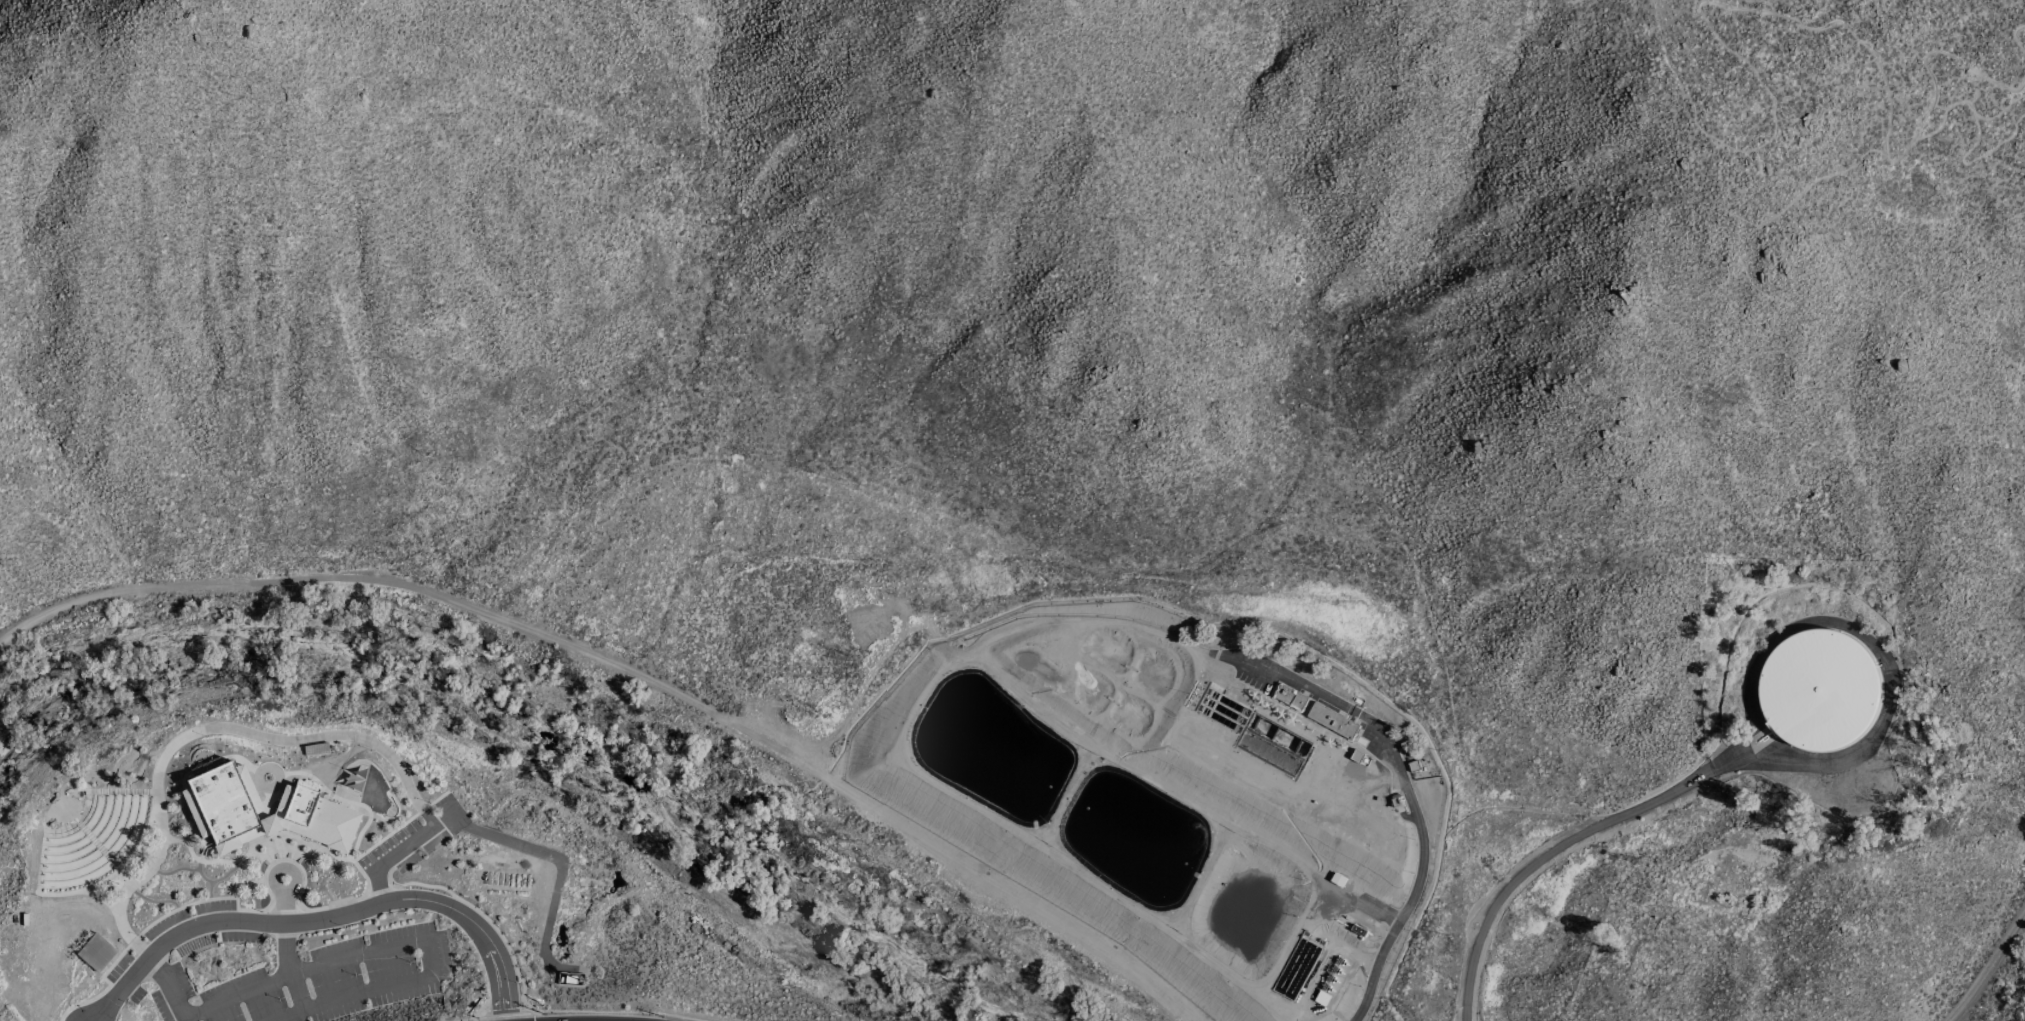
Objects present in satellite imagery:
road: (1742, 11)
road: (423, 591)
building: (1818, 691)
storage tank: (1818, 691)
building: (1290, 697)
building: (1332, 721)
river: (527, 726)
building: (223, 803)
road: (1411, 804)
building: (315, 820)
building: (199, 824)
building: (267, 825)
road: (397, 852)
road: (1545, 857)
road: (1010, 896)
road: (323, 921)
road: (429, 942)
building: (96, 952)
road: (1989, 969)
road: (171, 986)
road: (236, 997)
road: (503, 1012)
road: (611, 1012)
road: (286, 1014)
road: (466, 1019)

